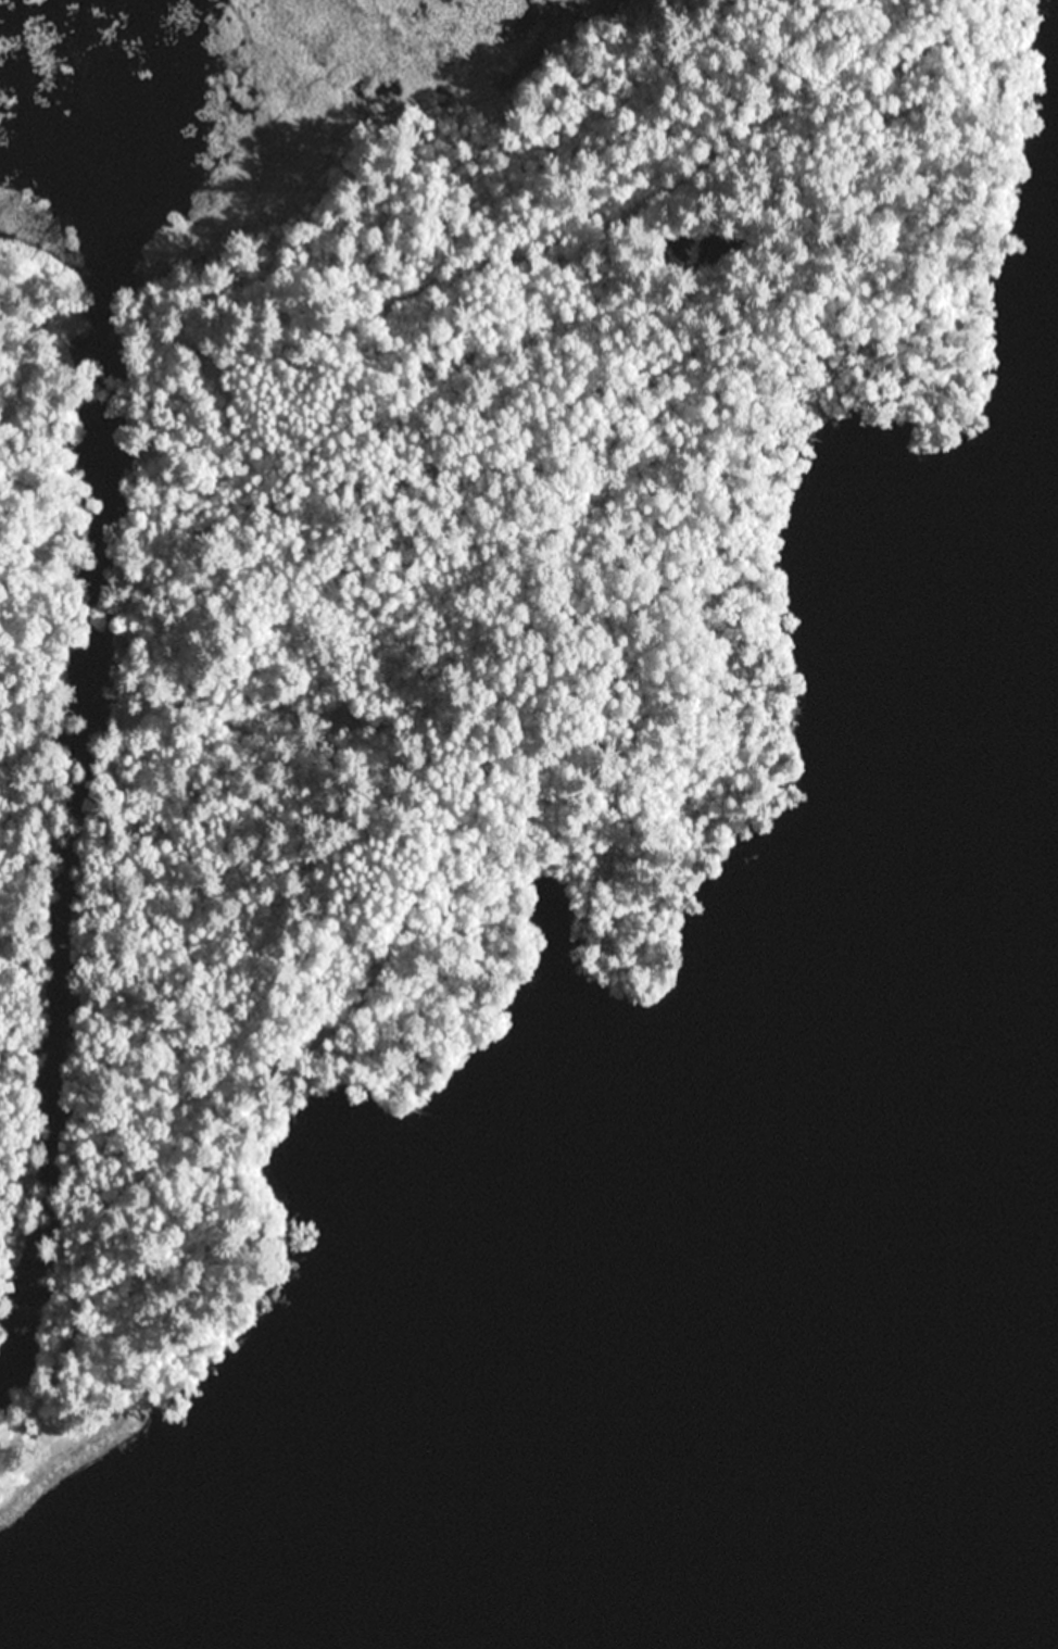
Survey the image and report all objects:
road: (1, 386)

